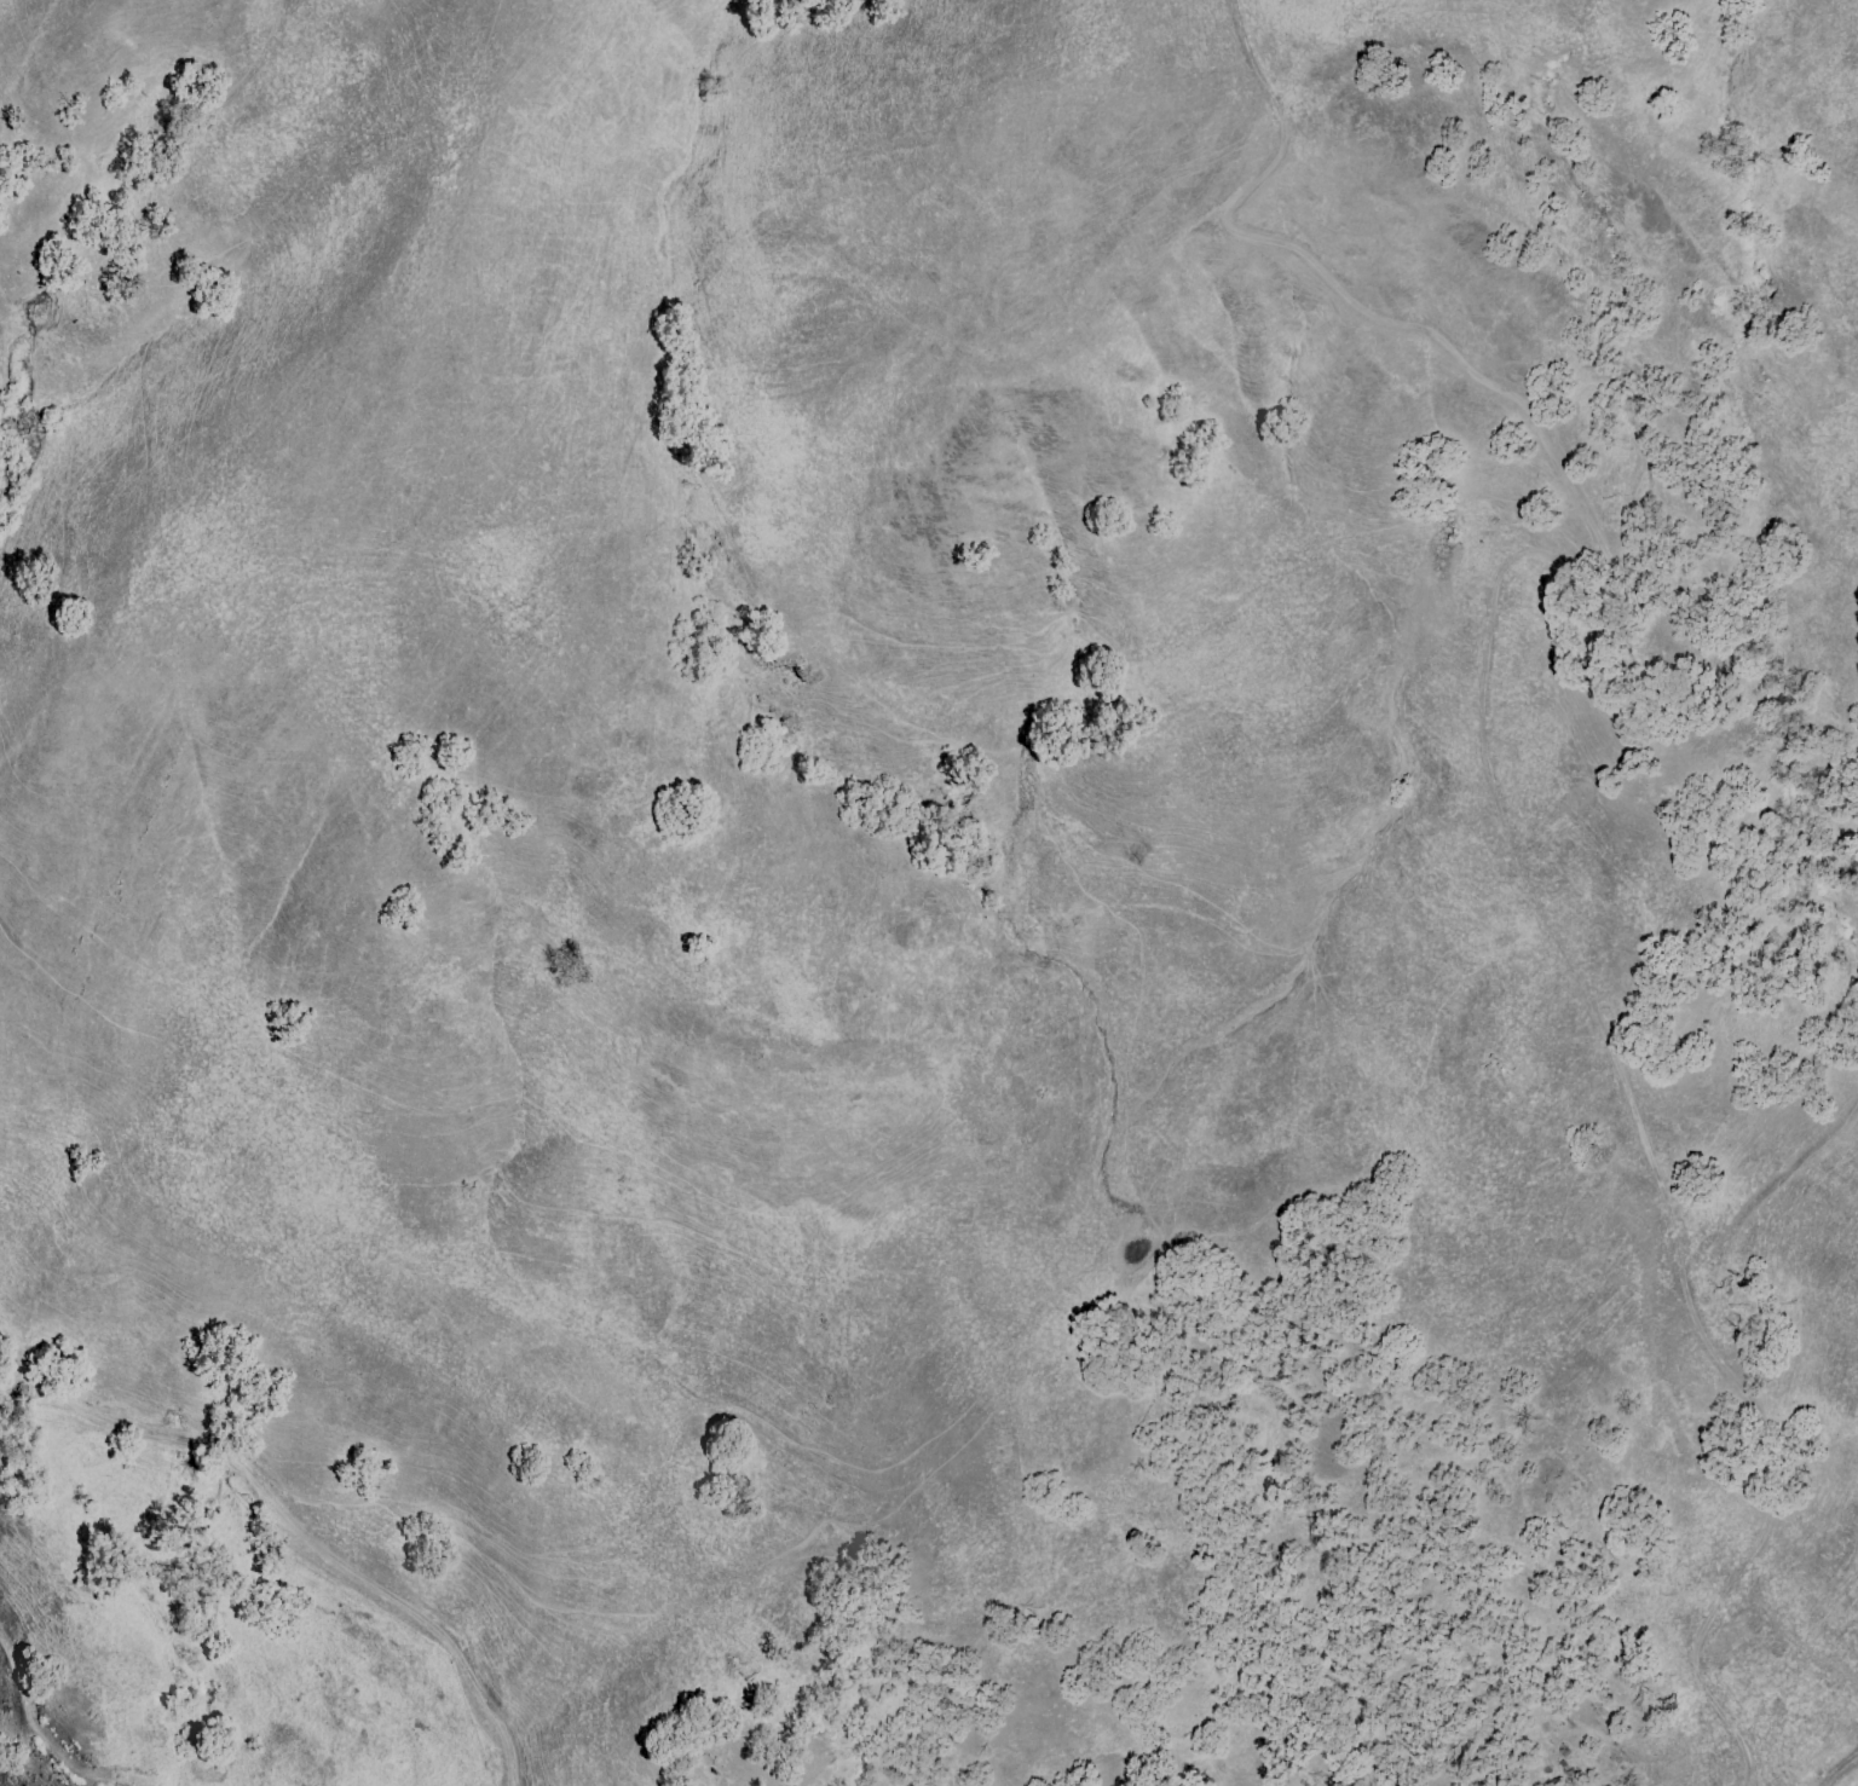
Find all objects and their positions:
road: (295, 1520)

